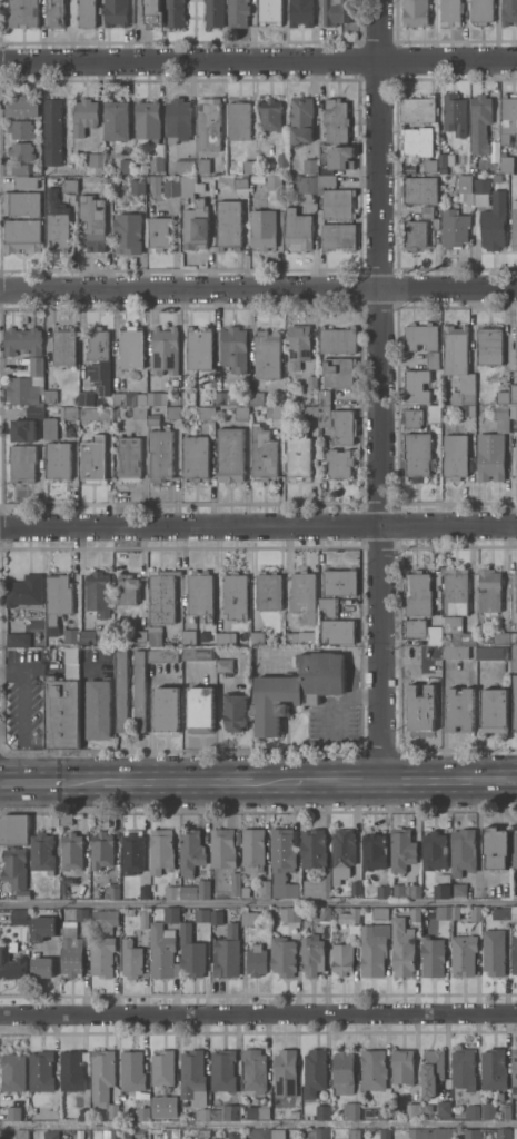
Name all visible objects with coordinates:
building: (270, 11)
building: (337, 11)
building: (483, 11)
building: (509, 11)
building: (56, 12)
building: (87, 12)
building: (117, 12)
building: (153, 12)
building: (213, 12)
building: (239, 12)
building: (302, 12)
building: (416, 12)
building: (451, 12)
building: (23, 13)
building: (176, 13)
road: (258, 60)
building: (22, 106)
building: (418, 109)
building: (455, 113)
building: (270, 115)
building: (84, 116)
building: (508, 118)
building: (301, 119)
building: (178, 120)
building: (240, 120)
building: (337, 120)
building: (117, 122)
building: (480, 122)
building: (209, 123)
building: (22, 129)
building: (151, 130)
building: (53, 131)
building: (516, 143)
building: (420, 145)
building: (22, 151)
building: (282, 159)
building: (337, 159)
building: (96, 161)
building: (446, 161)
building: (507, 162)
building: (187, 165)
building: (203, 165)
building: (126, 166)
building: (311, 166)
building: (250, 167)
building: (24, 168)
building: (497, 178)
building: (27, 181)
building: (106, 181)
building: (241, 181)
building: (275, 182)
building: (156, 184)
building: (306, 184)
building: (70, 185)
building: (138, 186)
building: (191, 186)
building: (171, 187)
building: (466, 187)
building: (420, 189)
building: (483, 191)
building: (336, 198)
building: (23, 204)
building: (428, 211)
building: (58, 220)
building: (495, 221)
building: (92, 222)
building: (229, 224)
building: (436, 224)
building: (514, 225)
building: (197, 226)
building: (264, 228)
building: (455, 228)
building: (298, 230)
building: (161, 231)
building: (128, 232)
building: (415, 234)
building: (23, 235)
building: (339, 236)
road: (258, 289)
building: (421, 336)
building: (338, 339)
building: (23, 340)
building: (489, 345)
building: (516, 345)
building: (64, 346)
building: (299, 346)
building: (516, 346)
building: (233, 347)
building: (131, 348)
building: (200, 348)
building: (166, 350)
building: (267, 354)
building: (99, 358)
building: (433, 359)
building: (516, 359)
building: (458, 363)
building: (339, 373)
building: (312, 380)
building: (28, 385)
building: (416, 385)
road: (379, 389)
building: (513, 393)
building: (51, 396)
building: (189, 397)
building: (222, 397)
building: (325, 397)
building: (503, 397)
building: (87, 398)
building: (120, 398)
building: (142, 398)
building: (157, 398)
building: (257, 398)
building: (176, 400)
building: (468, 410)
building: (514, 410)
building: (139, 412)
building: (173, 412)
building: (275, 412)
building: (311, 412)
building: (36, 413)
building: (71, 413)
building: (207, 413)
building: (241, 413)
building: (434, 413)
building: (96, 414)
building: (325, 415)
building: (412, 418)
building: (153, 419)
building: (344, 426)
building: (23, 429)
building: (494, 446)
building: (516, 446)
building: (160, 454)
building: (230, 454)
building: (264, 454)
building: (418, 454)
building: (299, 455)
building: (456, 455)
building: (129, 457)
building: (196, 457)
building: (93, 458)
building: (59, 460)
building: (23, 462)
building: (339, 462)
road: (258, 525)
building: (516, 576)
building: (340, 582)
building: (129, 588)
building: (26, 590)
building: (269, 591)
building: (456, 591)
building: (490, 591)
building: (99, 593)
building: (201, 594)
building: (418, 594)
building: (516, 594)
building: (162, 595)
building: (236, 595)
building: (59, 596)
building: (305, 596)
building: (516, 601)
building: (330, 606)
building: (415, 628)
building: (338, 631)
building: (459, 631)
building: (141, 632)
building: (71, 635)
building: (155, 635)
building: (435, 635)
building: (91, 636)
building: (189, 636)
building: (258, 637)
building: (300, 637)
building: (501, 637)
building: (514, 637)
building: (227, 638)
building: (18, 640)
building: (446, 643)
building: (456, 651)
building: (199, 653)
building: (493, 653)
building: (163, 655)
building: (515, 660)
building: (225, 665)
building: (297, 689)
building: (139, 690)
building: (122, 691)
road: (350, 694)
road: (365, 697)
building: (515, 702)
building: (167, 707)
building: (99, 709)
building: (201, 709)
building: (421, 709)
building: (460, 710)
building: (495, 710)
building: (236, 711)
building: (63, 713)
road: (23, 716)
road: (176, 780)
road: (329, 780)
road: (448, 780)
road: (37, 781)
road: (258, 808)
building: (67, 820)
building: (14, 830)
building: (497, 846)
building: (515, 848)
building: (223, 849)
building: (314, 849)
building: (102, 850)
building: (161, 850)
building: (252, 850)
building: (402, 850)
building: (72, 851)
building: (133, 851)
building: (191, 851)
building: (375, 851)
building: (435, 851)
building: (464, 851)
building: (43, 852)
building: (344, 853)
building: (282, 862)
building: (16, 866)
building: (235, 883)
building: (319, 885)
building: (355, 887)
building: (444, 887)
building: (205, 889)
building: (266, 889)
building: (459, 889)
building: (384, 890)
building: (80, 891)
building: (112, 891)
building: (145, 891)
building: (189, 891)
building: (246, 891)
building: (414, 891)
building: (173, 892)
building: (23, 894)
road: (258, 904)
building: (131, 910)
building: (444, 912)
building: (456, 912)
building: (82, 913)
building: (325, 913)
building: (476, 913)
building: (506, 913)
building: (515, 913)
building: (172, 914)
building: (202, 914)
building: (290, 914)
building: (355, 914)
building: (416, 914)
building: (380, 915)
building: (20, 917)
building: (146, 917)
building: (217, 917)
building: (250, 918)
building: (106, 920)
building: (43, 928)
building: (404, 948)
building: (374, 949)
building: (71, 950)
building: (163, 951)
building: (192, 952)
building: (228, 952)
building: (495, 952)
building: (312, 954)
building: (464, 954)
building: (515, 954)
building: (102, 955)
building: (284, 955)
building: (433, 957)
building: (342, 958)
building: (133, 960)
building: (257, 960)
building: (12, 962)
building: (43, 967)
road: (258, 1016)
building: (404, 1066)
building: (163, 1068)
building: (375, 1069)
building: (465, 1069)
building: (495, 1069)
building: (73, 1070)
building: (132, 1070)
building: (223, 1070)
building: (14, 1071)
building: (42, 1071)
building: (255, 1071)
building: (344, 1071)
building: (433, 1071)
building: (192, 1072)
building: (286, 1072)
building: (315, 1072)
building: (515, 1072)
building: (103, 1074)
building: (500, 1096)
building: (445, 1109)
building: (115, 1110)
building: (351, 1110)
building: (414, 1110)
building: (489, 1110)
building: (506, 1110)
building: (259, 1111)
building: (473, 1111)
building: (18, 1112)
building: (175, 1112)
building: (227, 1112)
building: (324, 1112)
building: (385, 1112)
building: (84, 1113)
building: (143, 1113)
building: (202, 1113)
road: (258, 1125)
building: (454, 1131)
building: (116, 1133)
building: (205, 1133)
building: (260, 1133)
building: (278, 1133)
building: (317, 1133)
building: (355, 1133)
building: (386, 1133)
building: (416, 1133)
building: (437, 1133)
building: (473, 1133)
building: (504, 1133)
building: (516, 1133)
building: (22, 1135)
building: (52, 1135)
building: (233, 1135)
building: (128, 1136)
building: (218, 1138)

